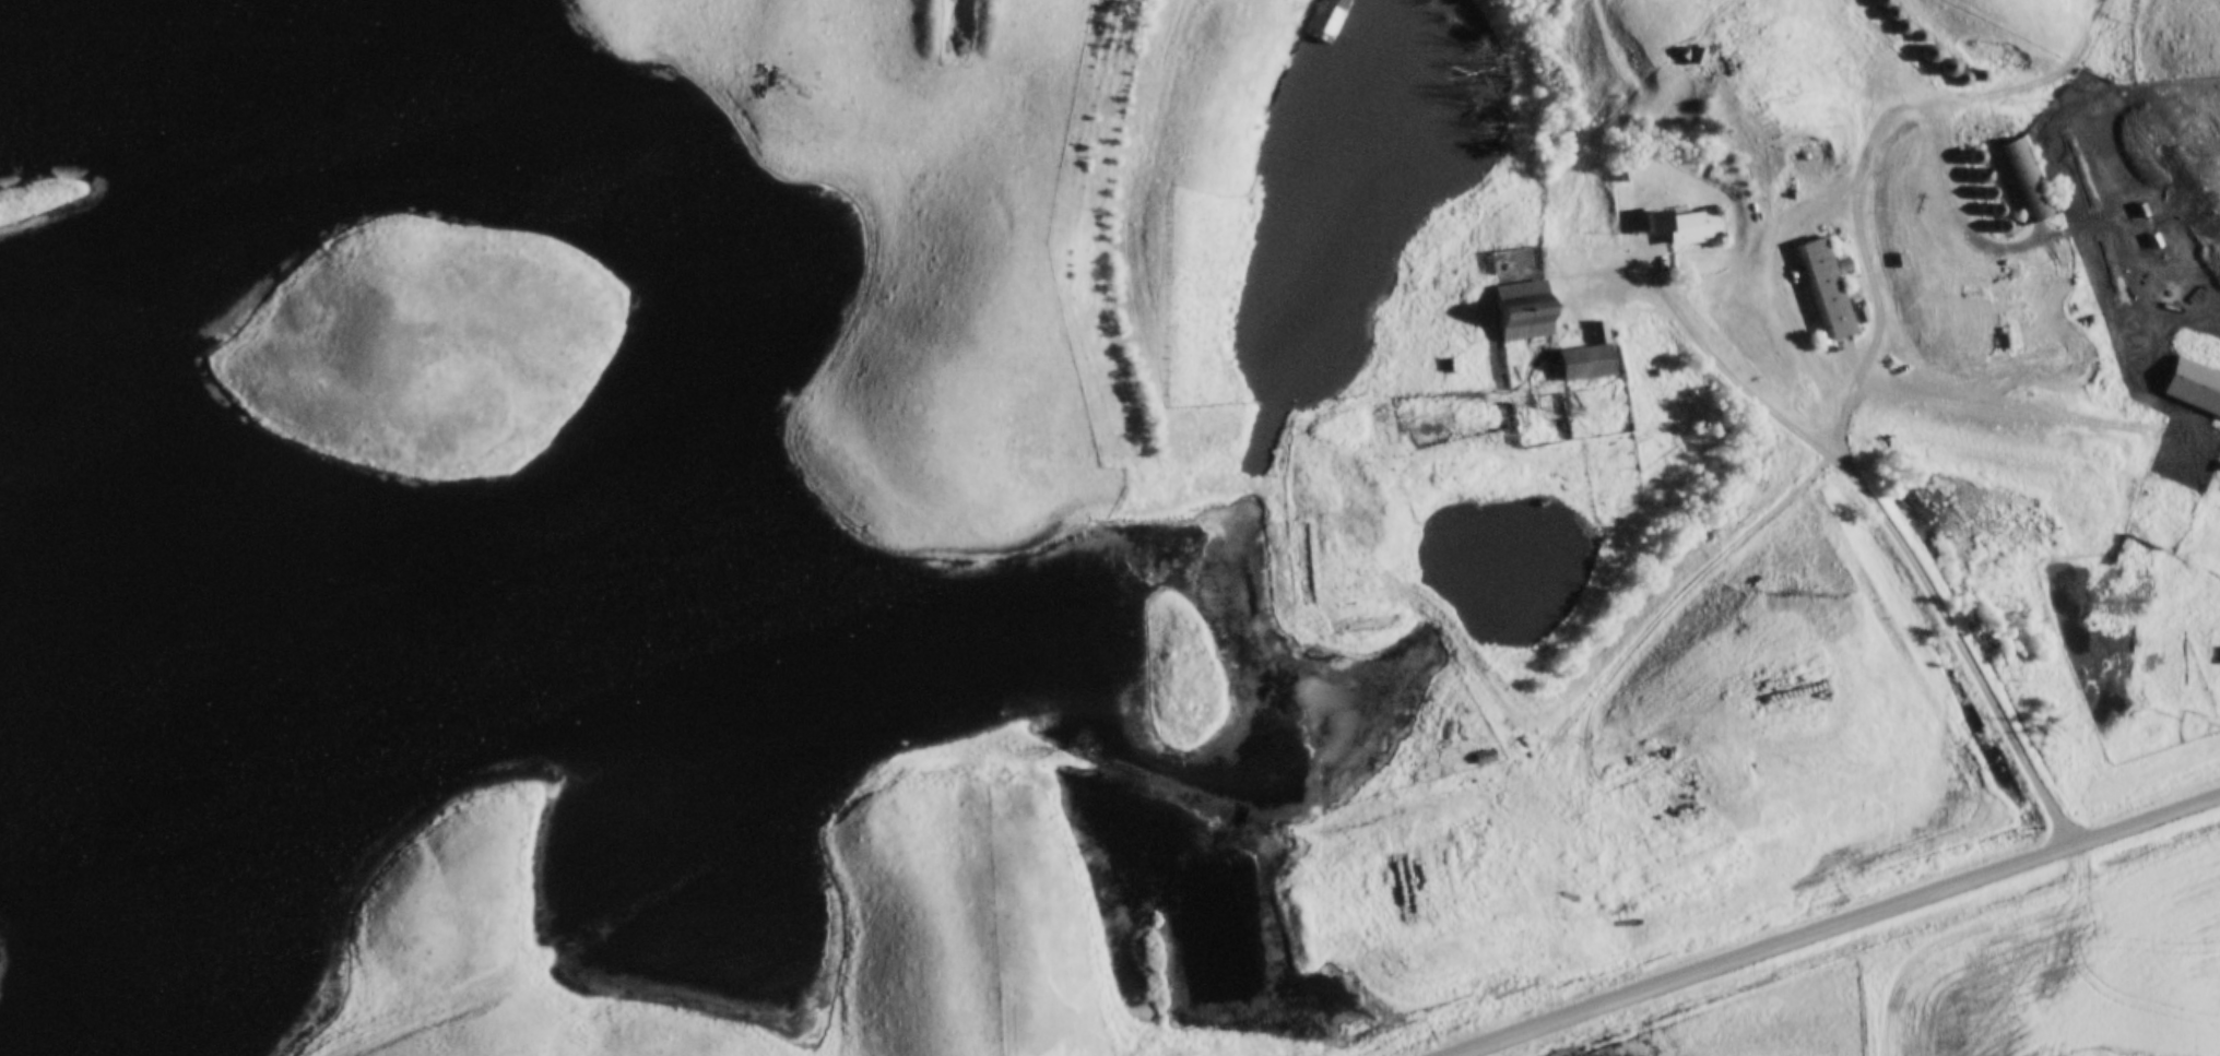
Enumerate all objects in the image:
building: (1324, 19)
road: (1977, 94)
road: (1856, 180)
building: (2020, 180)
building: (1685, 224)
building: (1825, 289)
building: (1525, 310)
building: (1590, 356)
building: (2194, 387)
road: (1864, 496)
road: (1418, 590)
building: (2219, 656)
road: (1556, 727)
building: (1486, 757)
road: (1830, 924)

